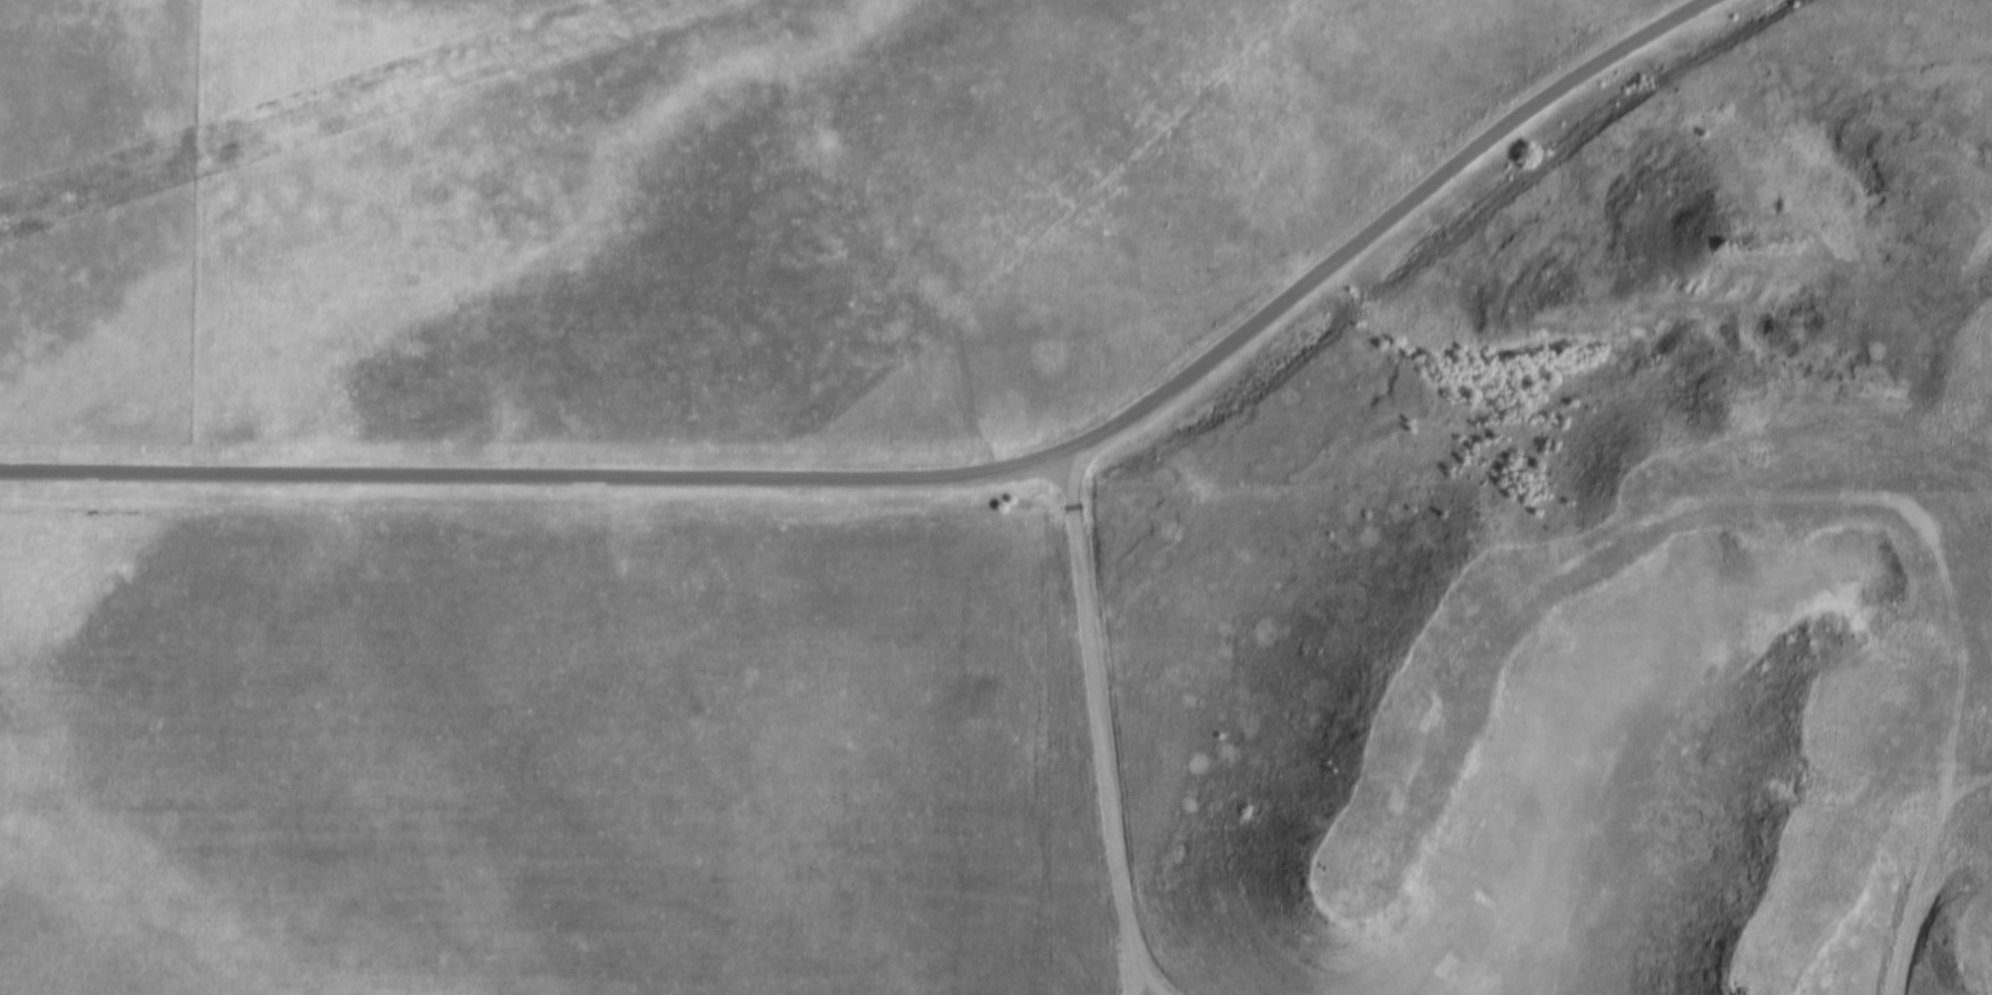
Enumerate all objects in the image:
road: (927, 480)
road: (1109, 728)
quarry: (1885, 735)
road: (1920, 875)

